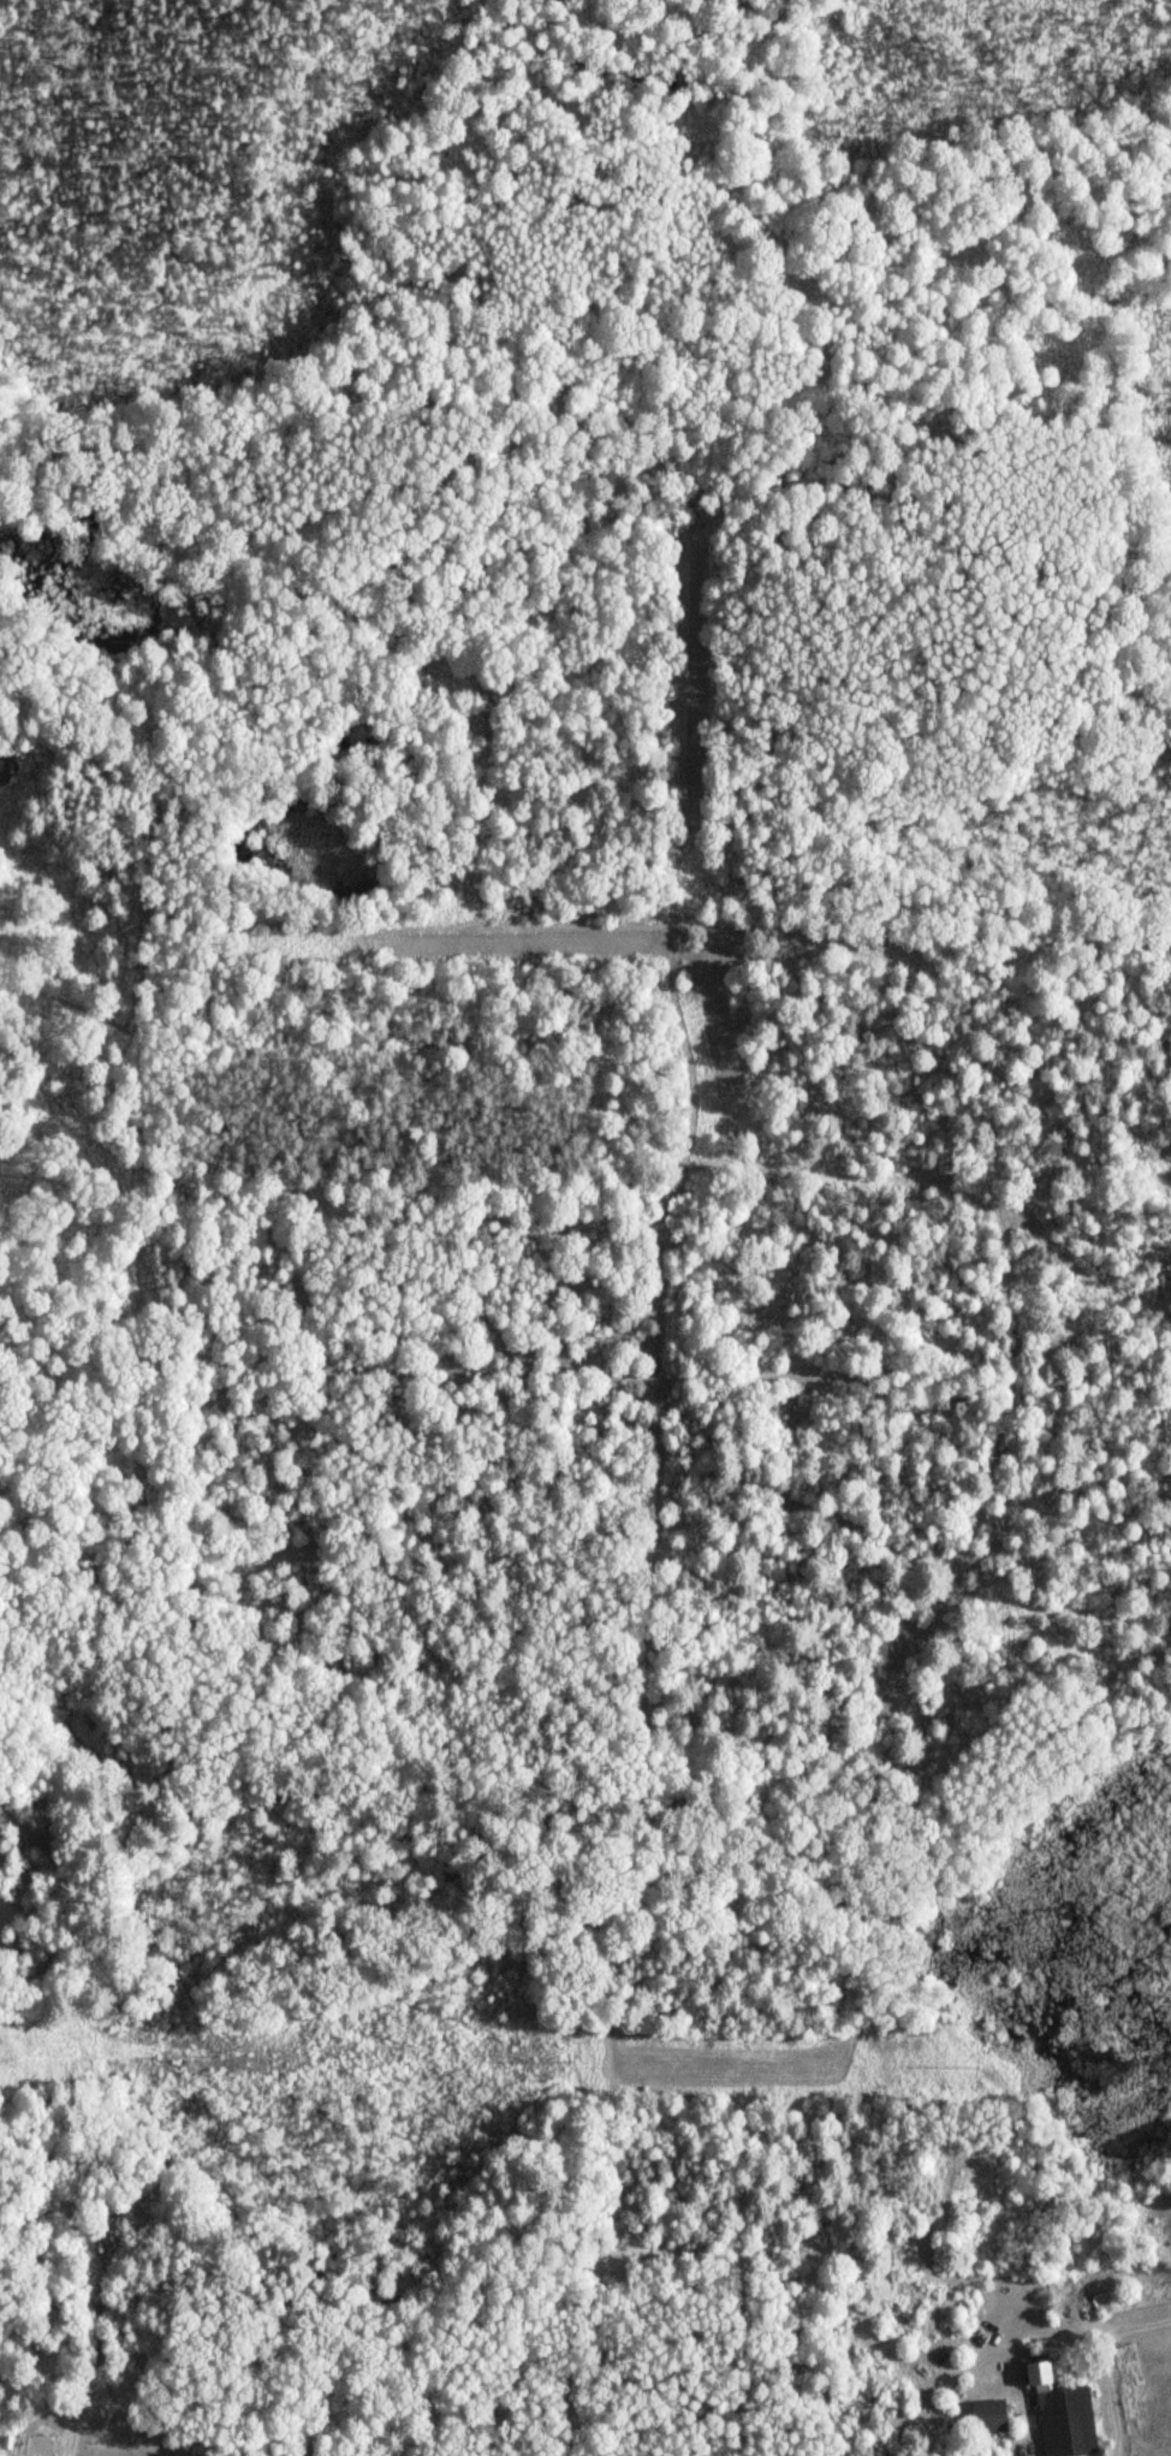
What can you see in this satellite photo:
building: (1100, 2302)
road: (1102, 2329)
building: (1063, 2413)
building: (993, 2415)

